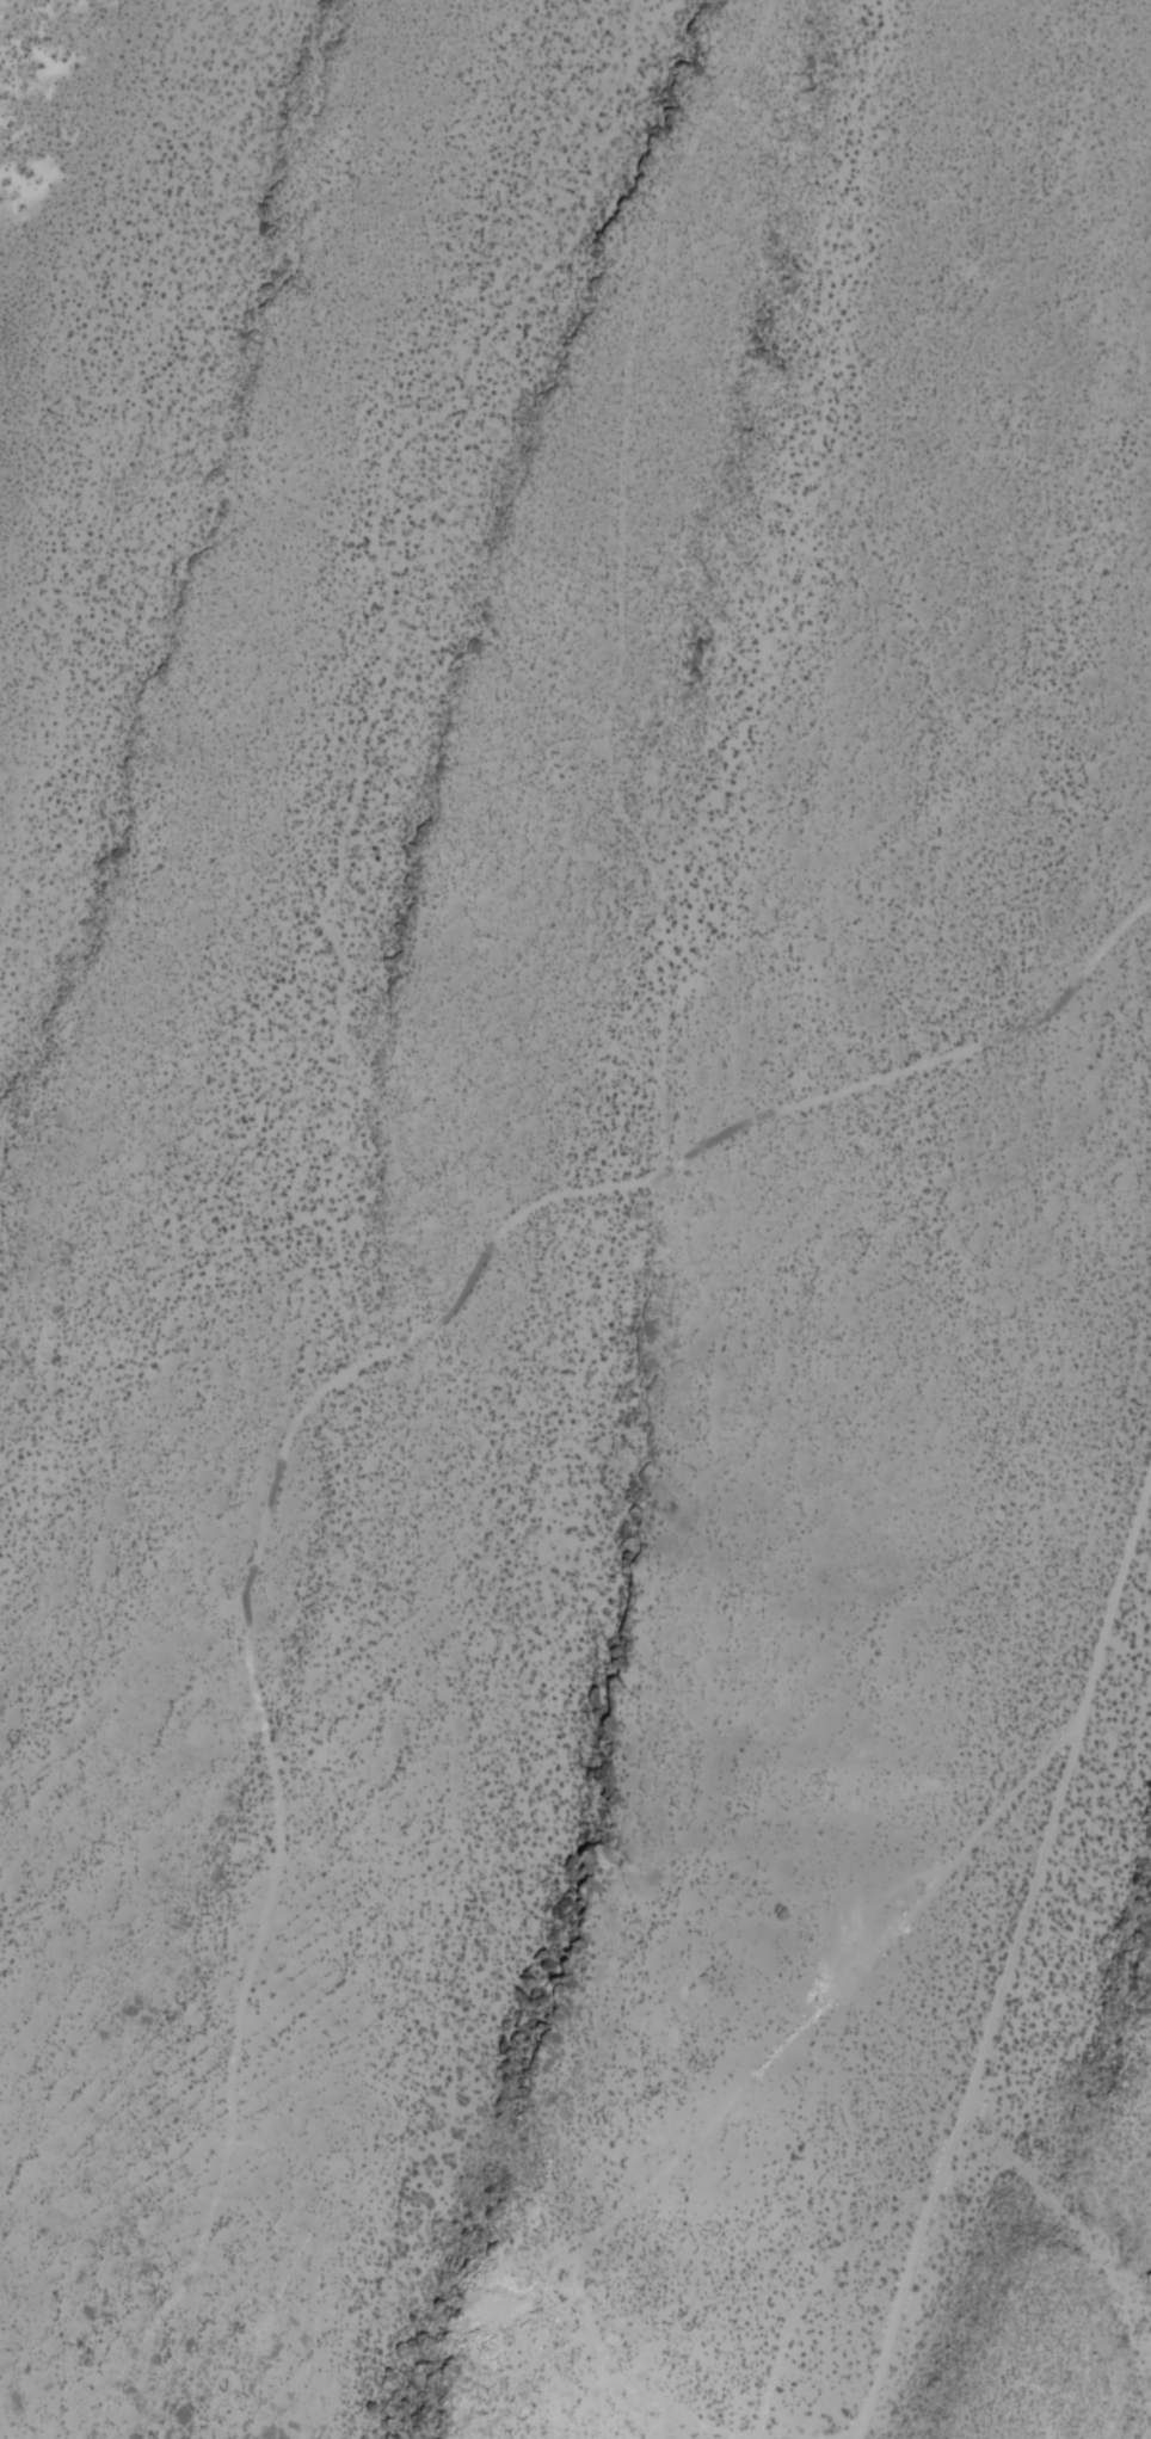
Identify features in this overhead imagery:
road: (287, 1434)
road: (1008, 1953)
road: (739, 2090)
road: (810, 2286)
road: (849, 2435)

